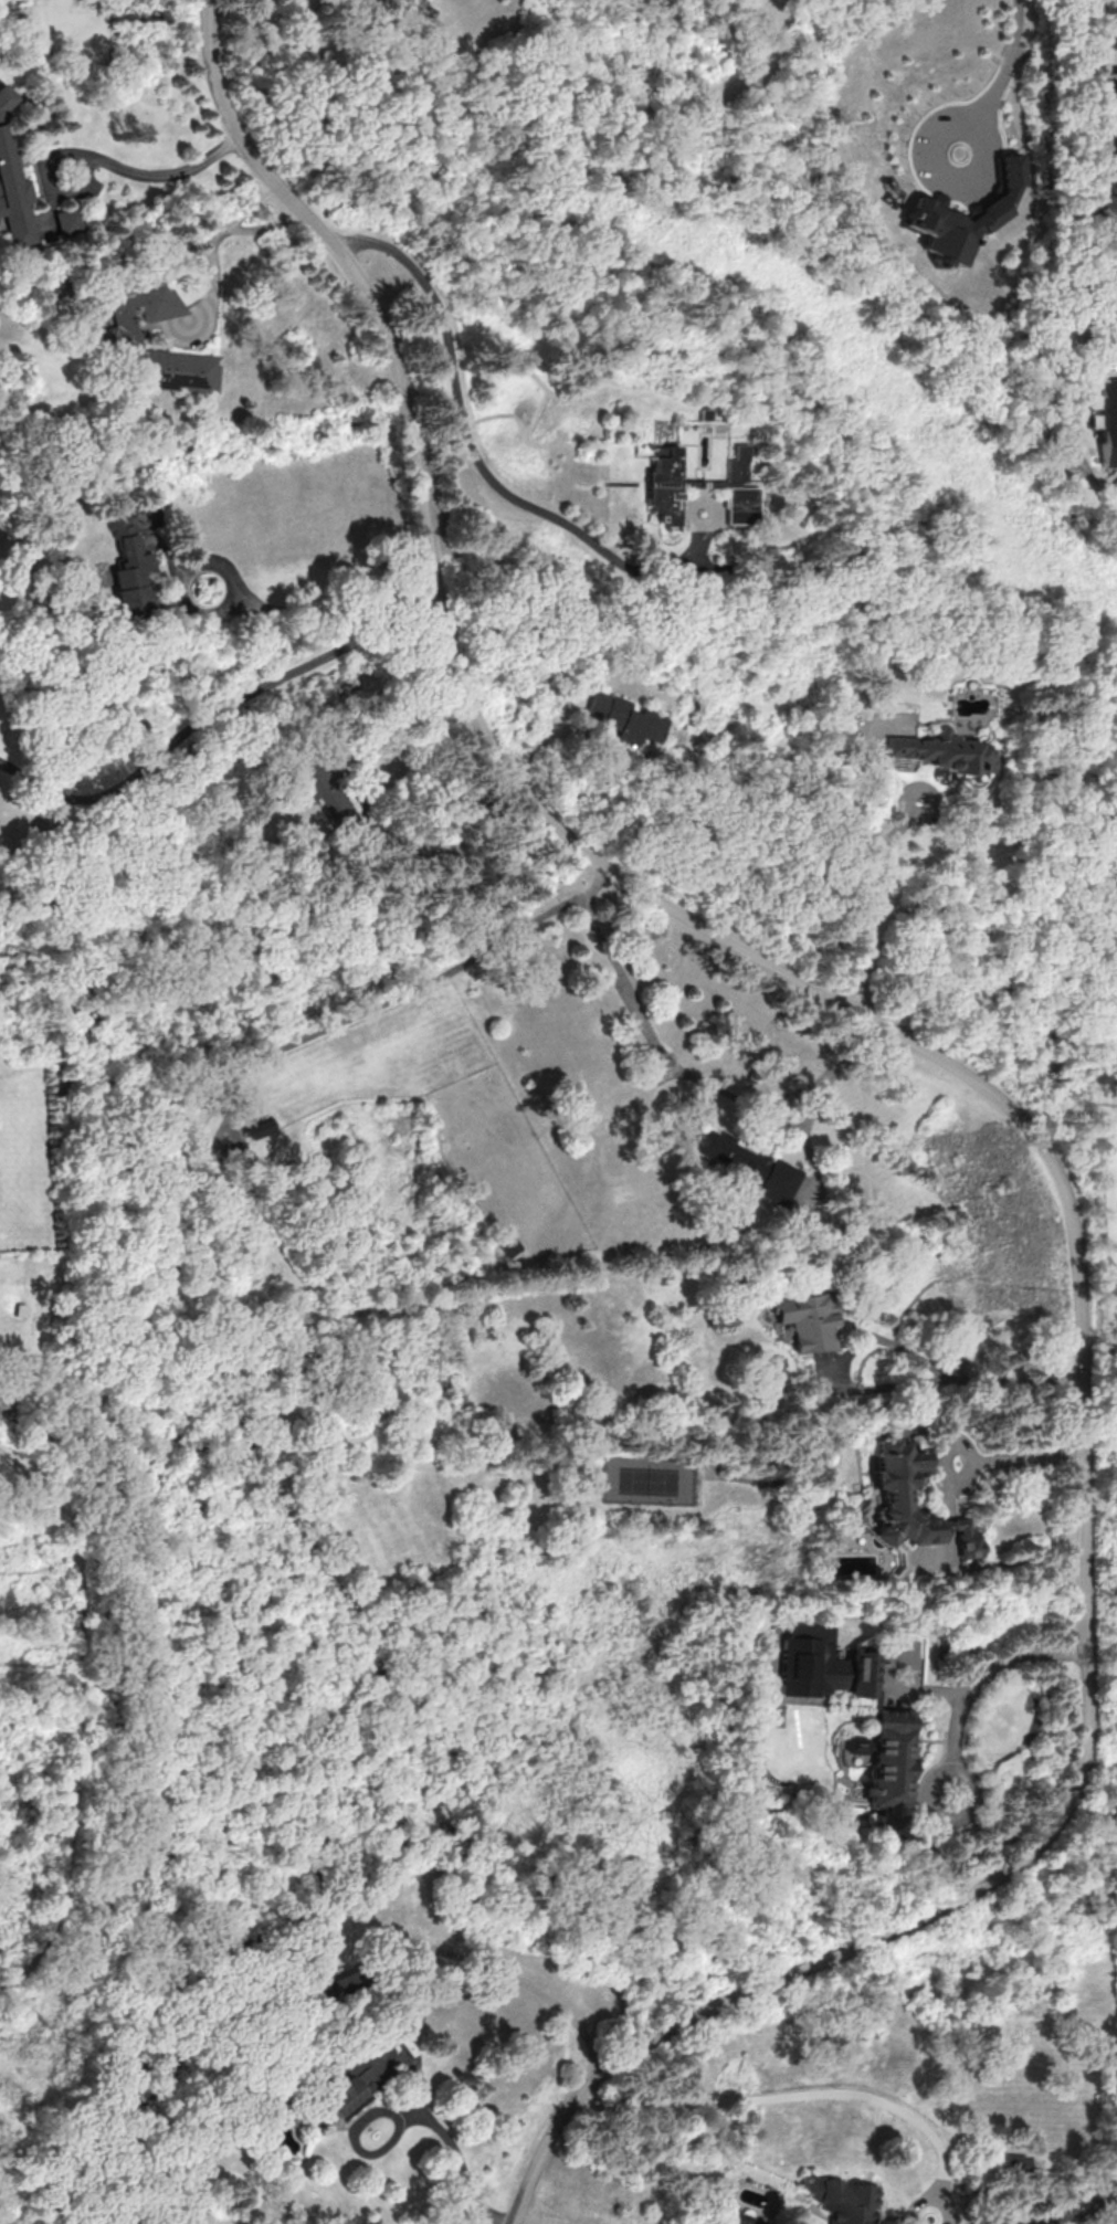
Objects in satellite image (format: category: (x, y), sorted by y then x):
building: (1111, 23)
road: (1008, 65)
building: (1116, 86)
building: (1116, 140)
road: (156, 172)
road: (945, 179)
building: (13, 194)
road: (250, 205)
building: (929, 208)
building: (1107, 211)
building: (65, 220)
road: (214, 246)
building: (1110, 329)
building: (113, 338)
road: (468, 438)
building: (664, 485)
building: (738, 488)
building: (128, 567)
road: (320, 610)
road: (213, 709)
road: (401, 713)
building: (624, 718)
building: (944, 750)
building: (327, 790)
road: (862, 897)
park: (1103, 1054)
road: (681, 1066)
road: (1007, 1103)
building: (257, 1127)
building: (746, 1163)
road: (1103, 1219)
building: (807, 1319)
road: (895, 1342)
road: (1028, 1455)
road: (962, 1471)
building: (889, 1498)
building: (812, 1659)
building: (861, 1674)
road: (986, 1675)
building: (889, 1769)
road: (508, 1972)
building: (334, 1985)
building: (354, 2083)
road: (792, 2097)
road: (445, 2139)
building: (1010, 2164)
road: (929, 2196)
building: (843, 2200)
building: (1069, 2209)

